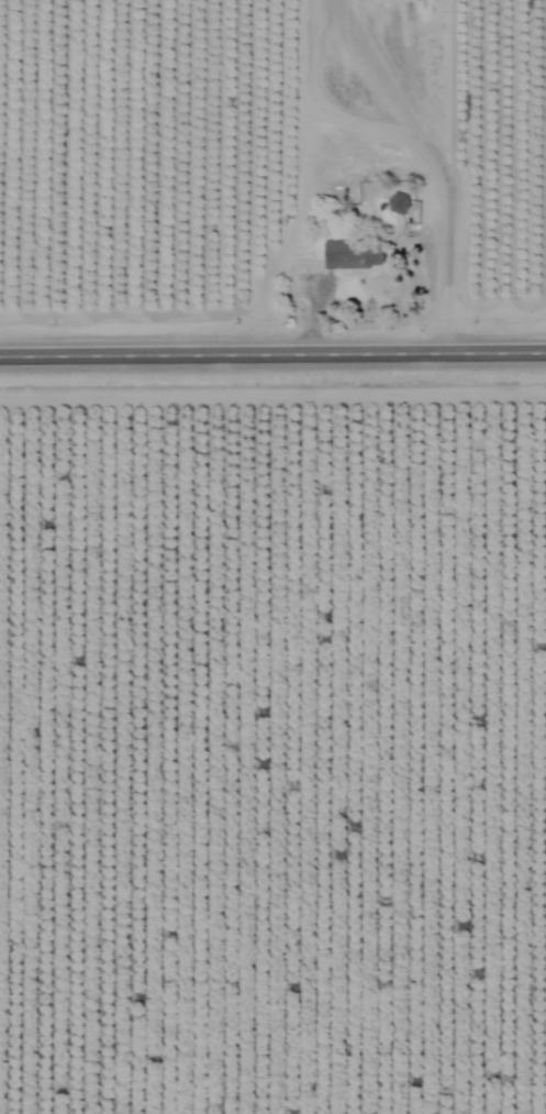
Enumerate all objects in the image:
crop: (272, 146)
road: (308, 184)
building: (394, 201)
building: (349, 254)
road: (272, 368)
crop: (272, 750)

